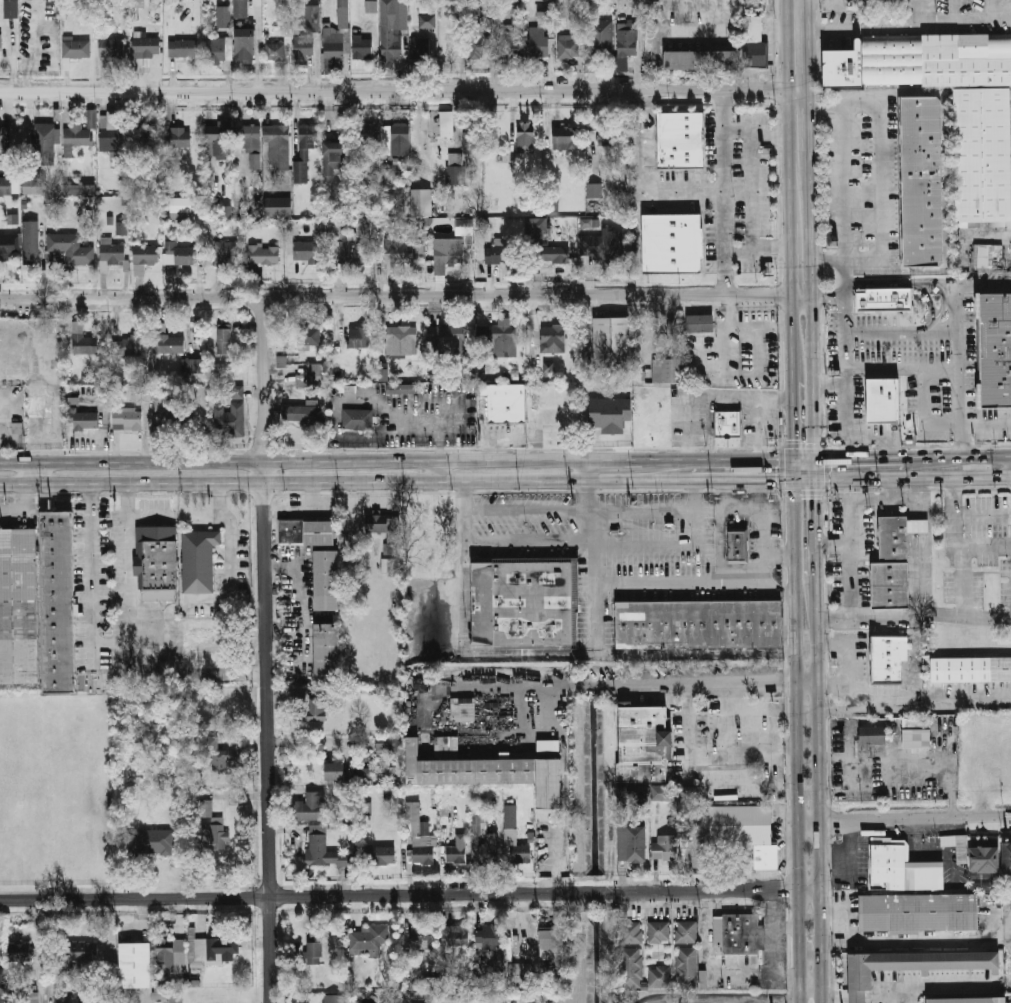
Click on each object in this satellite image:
building: (136, 1)
building: (475, 1)
building: (620, 4)
building: (371, 5)
building: (425, 6)
building: (11, 8)
building: (243, 9)
building: (282, 10)
building: (400, 11)
building: (223, 16)
building: (312, 16)
building: (428, 20)
road: (904, 24)
building: (751, 27)
building: (541, 34)
building: (601, 37)
building: (336, 40)
building: (628, 41)
building: (245, 43)
building: (509, 43)
road: (493, 44)
building: (481, 46)
building: (147, 47)
building: (183, 47)
building: (305, 47)
building: (391, 47)
building: (77, 48)
building: (111, 48)
building: (218, 48)
building: (364, 48)
building: (569, 48)
building: (276, 50)
building: (421, 51)
building: (756, 52)
building: (700, 58)
building: (921, 60)
building: (141, 65)
road: (399, 90)
road: (798, 114)
building: (447, 123)
road: (736, 130)
building: (79, 132)
building: (367, 132)
building: (111, 133)
building: (610, 135)
building: (219, 137)
building: (472, 137)
building: (526, 137)
building: (566, 137)
building: (5, 138)
building: (178, 138)
building: (400, 138)
building: (682, 139)
building: (146, 140)
building: (253, 143)
building: (45, 144)
building: (278, 145)
building: (305, 151)
building: (983, 155)
building: (336, 158)
road: (843, 158)
building: (455, 168)
road: (880, 178)
parking lot: (864, 180)
building: (923, 180)
road: (638, 181)
building: (7, 186)
building: (36, 186)
road: (751, 188)
building: (79, 189)
building: (594, 190)
road: (723, 191)
building: (422, 201)
building: (184, 204)
building: (278, 206)
road: (822, 222)
building: (464, 226)
building: (122, 229)
building: (336, 229)
building: (536, 229)
road: (992, 233)
building: (32, 240)
building: (672, 242)
building: (601, 246)
building: (9, 247)
building: (70, 248)
building: (399, 250)
road: (738, 250)
building: (112, 251)
building: (307, 252)
building: (179, 253)
building: (447, 253)
building: (551, 253)
building: (265, 254)
building: (353, 254)
building: (501, 254)
building: (985, 254)
building: (146, 255)
road: (822, 256)
building: (225, 257)
road: (799, 261)
road: (916, 284)
road: (941, 292)
road: (821, 293)
road: (399, 295)
building: (882, 297)
road: (799, 299)
building: (699, 321)
road: (904, 332)
building: (309, 335)
building: (358, 337)
building: (449, 337)
building: (503, 338)
building: (553, 338)
parking lot: (897, 338)
building: (402, 339)
road: (849, 339)
building: (83, 340)
building: (224, 340)
building: (611, 340)
parking lot: (837, 340)
building: (170, 344)
road: (959, 344)
building: (127, 346)
road: (793, 350)
parking lot: (973, 350)
building: (998, 350)
building: (189, 365)
road: (904, 365)
building: (548, 367)
building: (666, 369)
road: (782, 369)
building: (313, 375)
road: (811, 379)
road: (831, 383)
building: (404, 388)
building: (236, 392)
building: (350, 392)
building: (141, 394)
building: (885, 395)
road: (740, 398)
parking lot: (860, 398)
building: (503, 400)
building: (468, 401)
building: (447, 402)
parking lot: (934, 407)
building: (170, 411)
building: (91, 412)
parking lot: (836, 414)
building: (307, 415)
building: (610, 415)
building: (356, 418)
building: (130, 419)
building: (230, 419)
parking lot: (678, 420)
road: (938, 422)
building: (729, 423)
parking lot: (750, 423)
parking lot: (771, 423)
parking lot: (700, 424)
road: (689, 427)
road: (711, 427)
road: (761, 429)
road: (793, 437)
traffic signals: (794, 441)
road: (825, 444)
road: (390, 449)
road: (943, 456)
traffic signals: (832, 457)
road: (834, 457)
road: (290, 458)
road: (630, 458)
road: (736, 458)
road: (582, 468)
road: (436, 469)
road: (34, 474)
road: (911, 474)
road: (803, 476)
road: (761, 477)
traffic signals: (774, 477)
road: (364, 480)
road: (893, 486)
road: (392, 491)
traffic signals: (814, 497)
road: (907, 497)
road: (726, 498)
road: (755, 498)
road: (814, 499)
road: (20, 510)
road: (464, 510)
road: (526, 510)
road: (655, 510)
road: (758, 510)
street lamp: (656, 516)
street lamp: (529, 518)
parking lot: (741, 518)
road: (917, 521)
building: (920, 521)
road: (925, 521)
parking lot: (776, 524)
street lamp: (623, 527)
building: (307, 528)
building: (385, 530)
parking lot: (529, 534)
building: (896, 534)
road: (231, 535)
road: (846, 535)
parking lot: (653, 537)
road: (528, 541)
road: (830, 542)
building: (739, 544)
parking lot: (756, 544)
road: (958, 544)
street lamp: (696, 552)
building: (159, 560)
building: (200, 561)
road: (723, 562)
building: (388, 565)
building: (328, 576)
road: (924, 579)
road: (651, 581)
building: (892, 581)
road: (779, 587)
building: (58, 601)
building: (523, 602)
building: (18, 606)
road: (914, 615)
parking lot: (609, 624)
building: (698, 624)
road: (111, 643)
road: (269, 648)
building: (329, 650)
building: (889, 656)
road: (609, 659)
road: (849, 660)
building: (971, 665)
road: (807, 682)
road: (833, 682)
road: (736, 683)
road: (623, 685)
road: (507, 686)
road: (913, 705)
building: (316, 708)
building: (462, 709)
building: (909, 723)
building: (875, 731)
building: (919, 736)
road: (797, 740)
building: (386, 742)
building: (640, 743)
road: (755, 745)
road: (826, 746)
building: (444, 747)
road: (787, 747)
building: (216, 753)
building: (360, 754)
building: (527, 754)
building: (336, 771)
building: (485, 772)
road: (818, 772)
building: (731, 785)
building: (661, 792)
building: (692, 792)
building: (310, 807)
building: (510, 816)
building: (445, 817)
road: (904, 819)
building: (738, 823)
building: (215, 833)
building: (419, 834)
building: (493, 839)
building: (153, 841)
building: (629, 842)
building: (663, 847)
building: (961, 849)
building: (328, 853)
building: (456, 854)
building: (521, 854)
building: (380, 855)
building: (765, 856)
building: (985, 857)
building: (1007, 859)
building: (905, 865)
road: (717, 890)
road: (593, 892)
road: (286, 895)
building: (920, 910)
building: (661, 928)
building: (689, 928)
building: (632, 929)
building: (744, 930)
building: (720, 932)
building: (456, 936)
building: (424, 937)
building: (489, 938)
road: (906, 939)
building: (367, 940)
building: (551, 942)
building: (315, 947)
road: (39, 950)
building: (210, 950)
building: (83, 951)
building: (21, 953)
building: (498, 957)
building: (633, 963)
building: (916, 963)
building: (689, 964)
building: (136, 965)
building: (171, 966)
building: (520, 970)
building: (661, 973)
road: (809, 975)
building: (431, 983)
building: (323, 984)
building: (3, 988)
building: (859, 995)
road: (907, 995)
building: (61, 996)
building: (32, 997)
building: (483, 997)
road: (810, 997)
building: (335, 998)
building: (968, 999)
road: (720, 1000)
road: (782, 1000)

